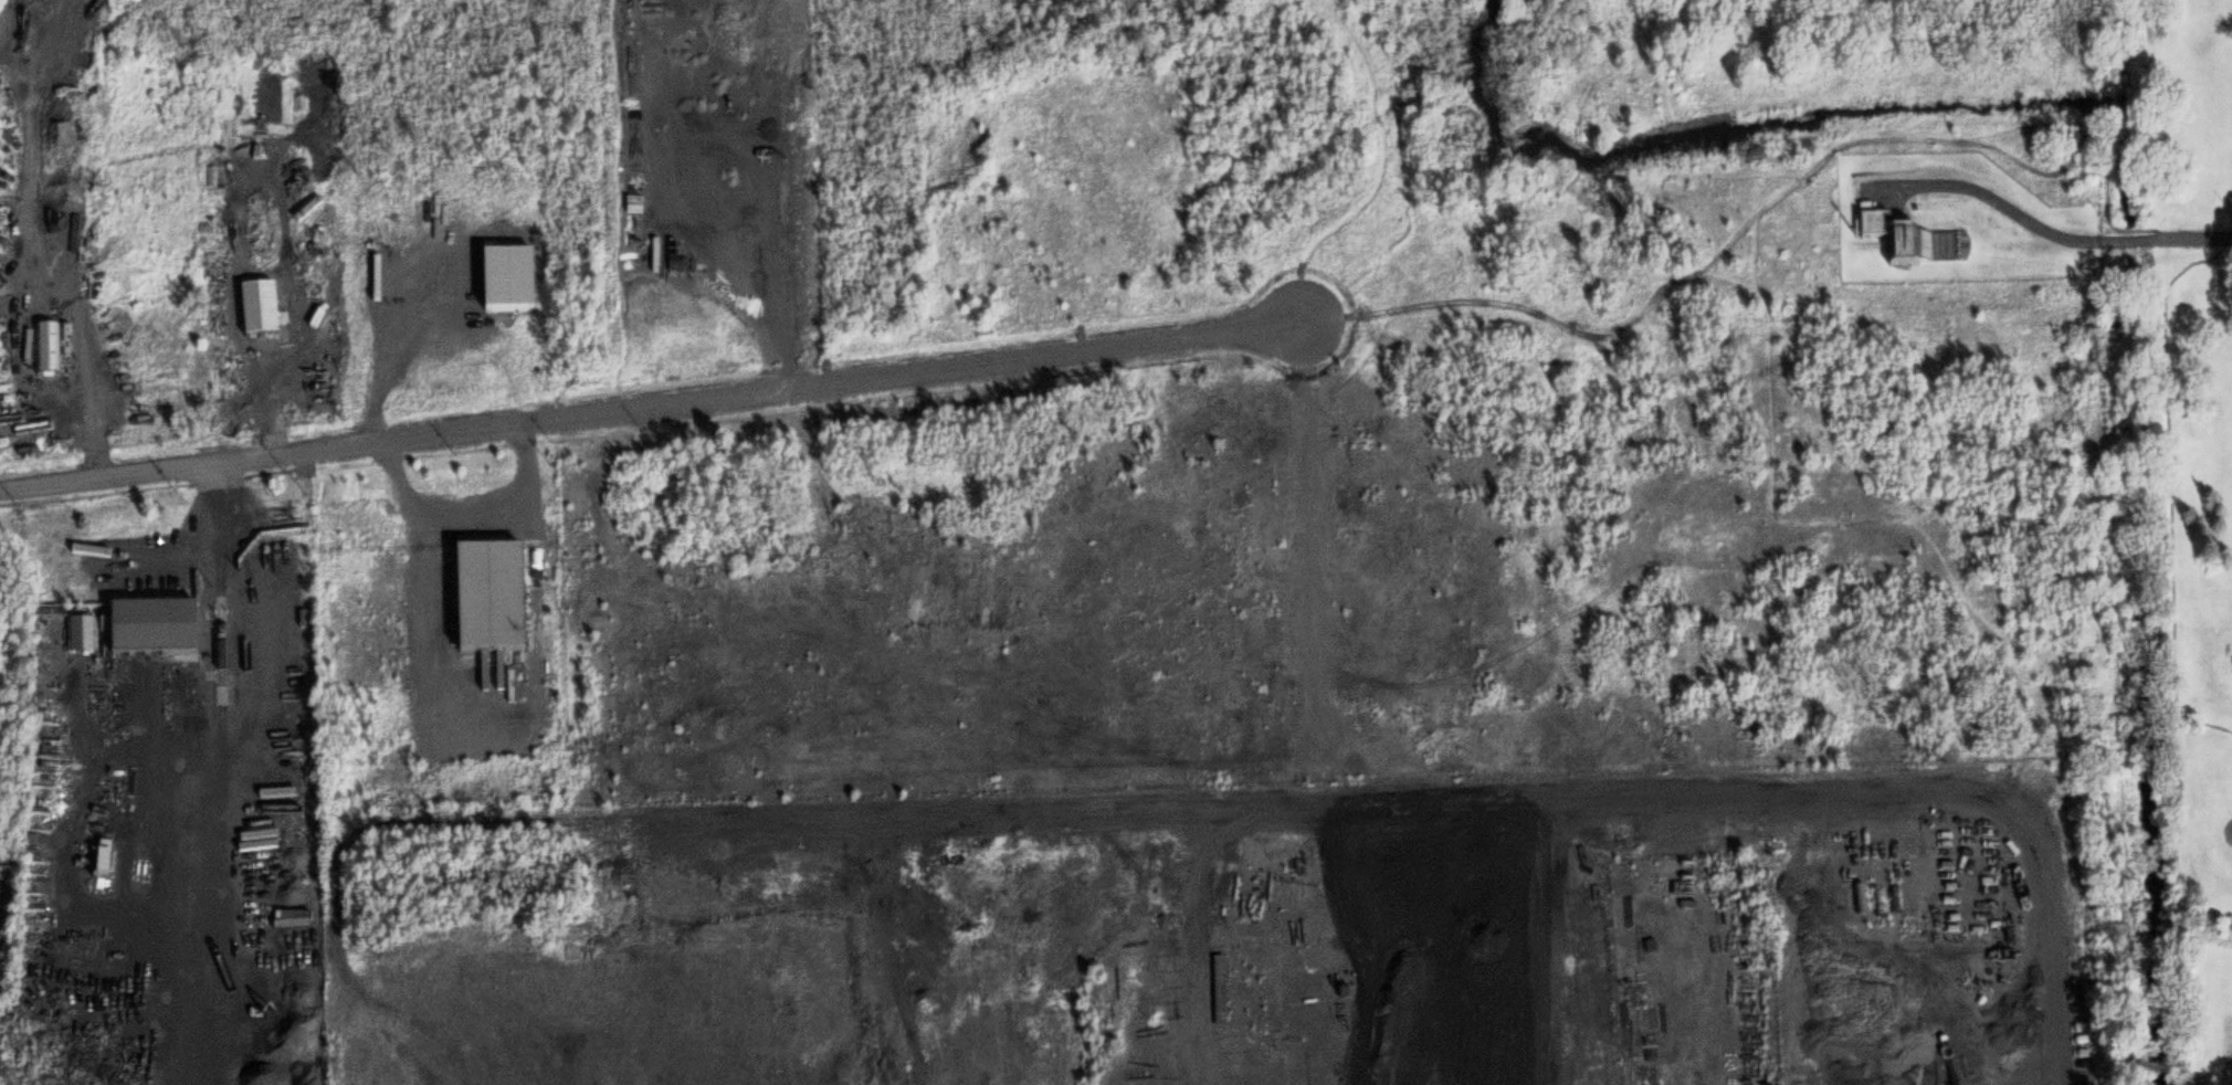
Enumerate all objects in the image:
park: (2205, 855)

